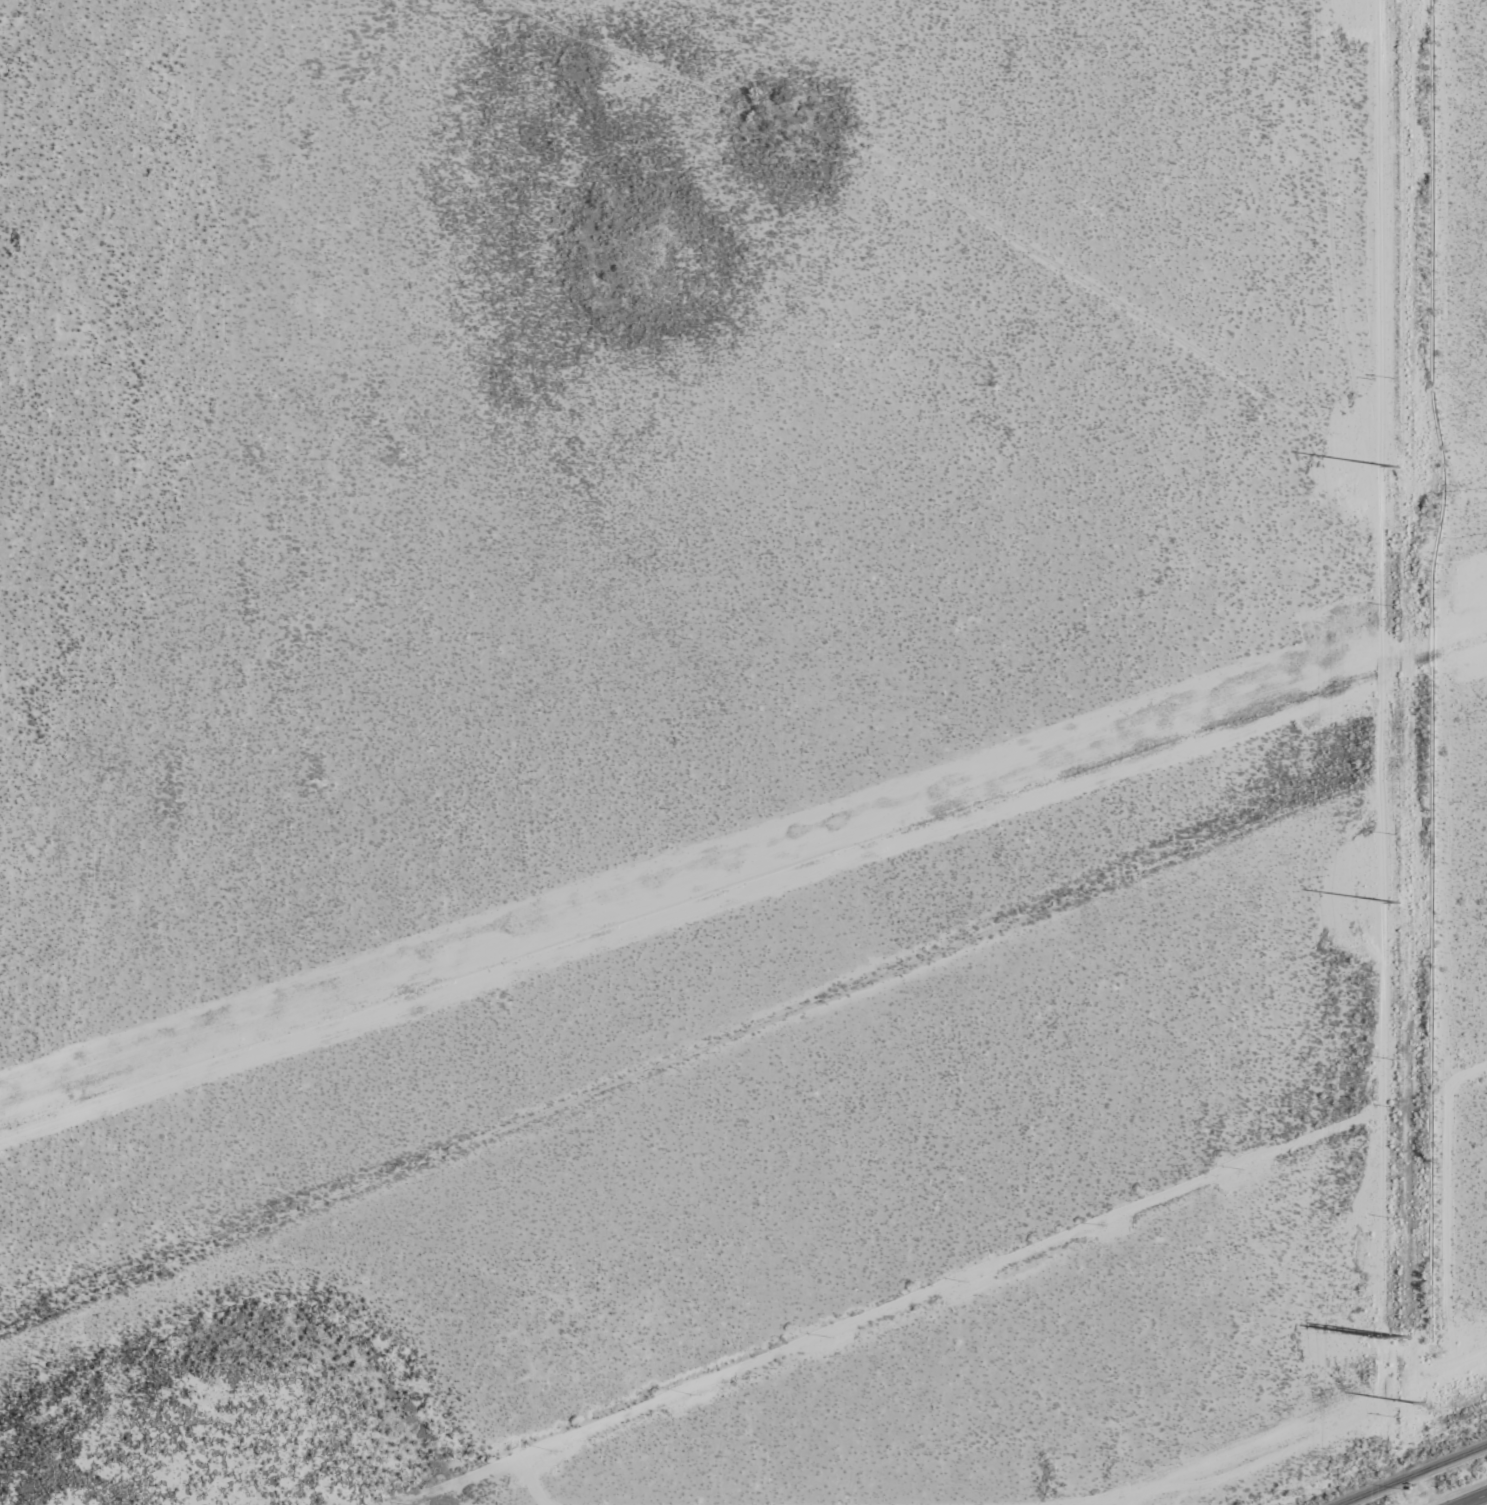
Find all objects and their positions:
power tower: (1391, 1339)
road: (1463, 1360)
railway: (1414, 1475)
road: (1472, 1499)

